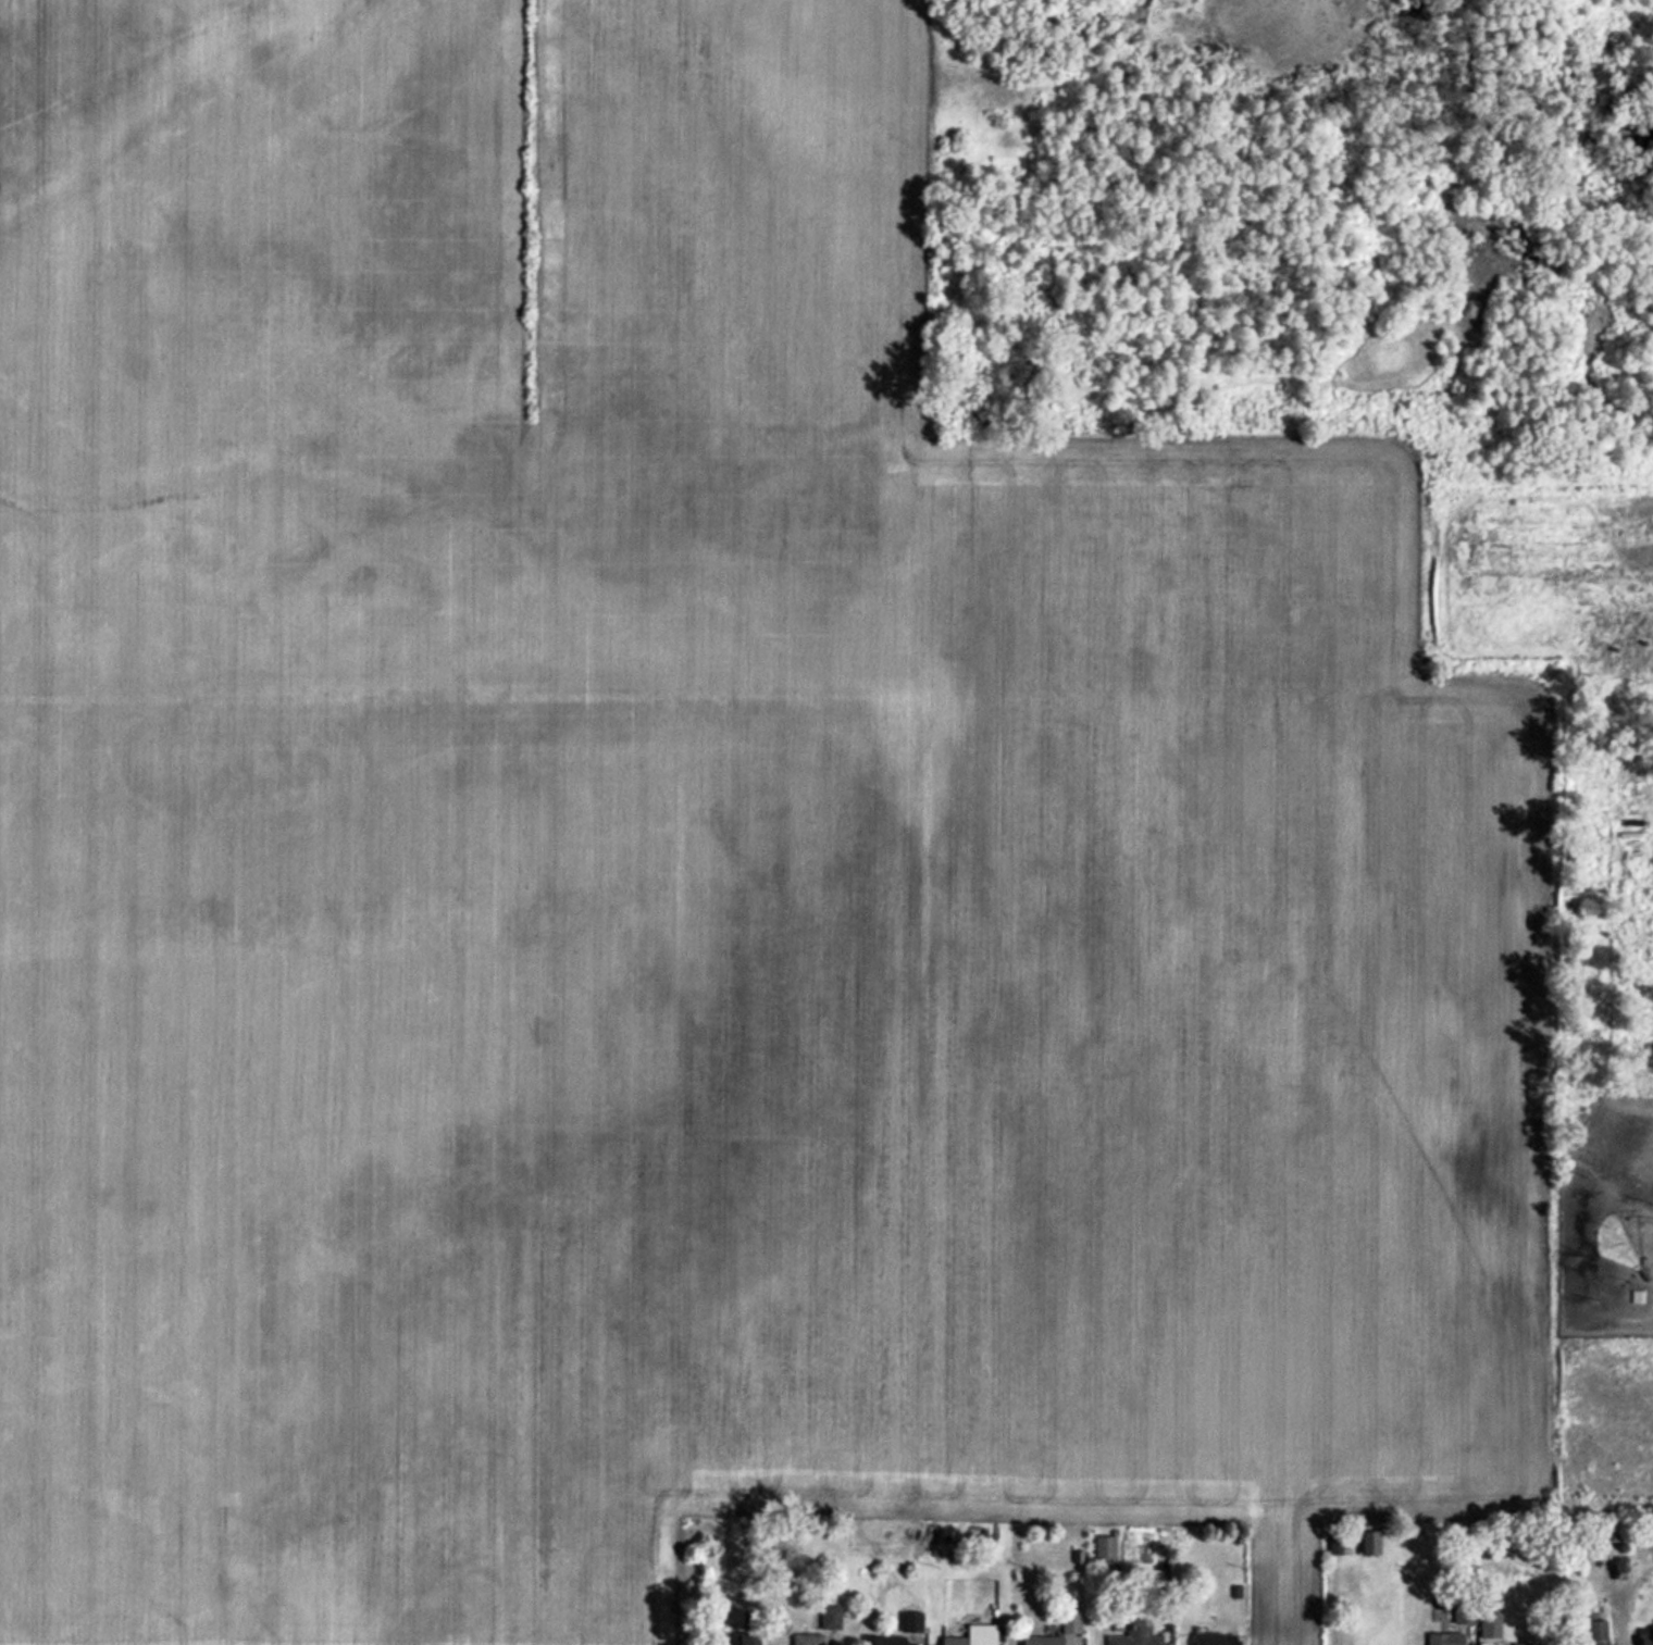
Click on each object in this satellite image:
building: (1106, 1548)
building: (1466, 1613)
building: (832, 1616)
building: (1072, 1618)
building: (906, 1631)
building: (1601, 1631)
building: (977, 1635)
building: (1138, 1636)
building: (1439, 1637)
building: (810, 1638)
building: (1217, 1638)
building: (754, 1640)
building: (1045, 1640)
building: (1527, 1643)

